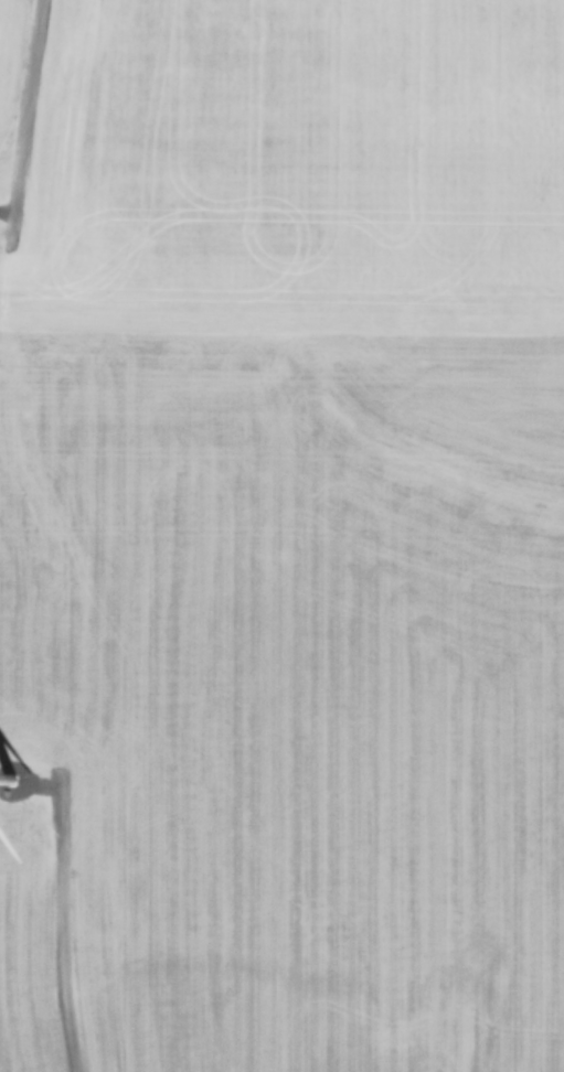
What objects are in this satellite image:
road: (25, 150)
road: (64, 914)

